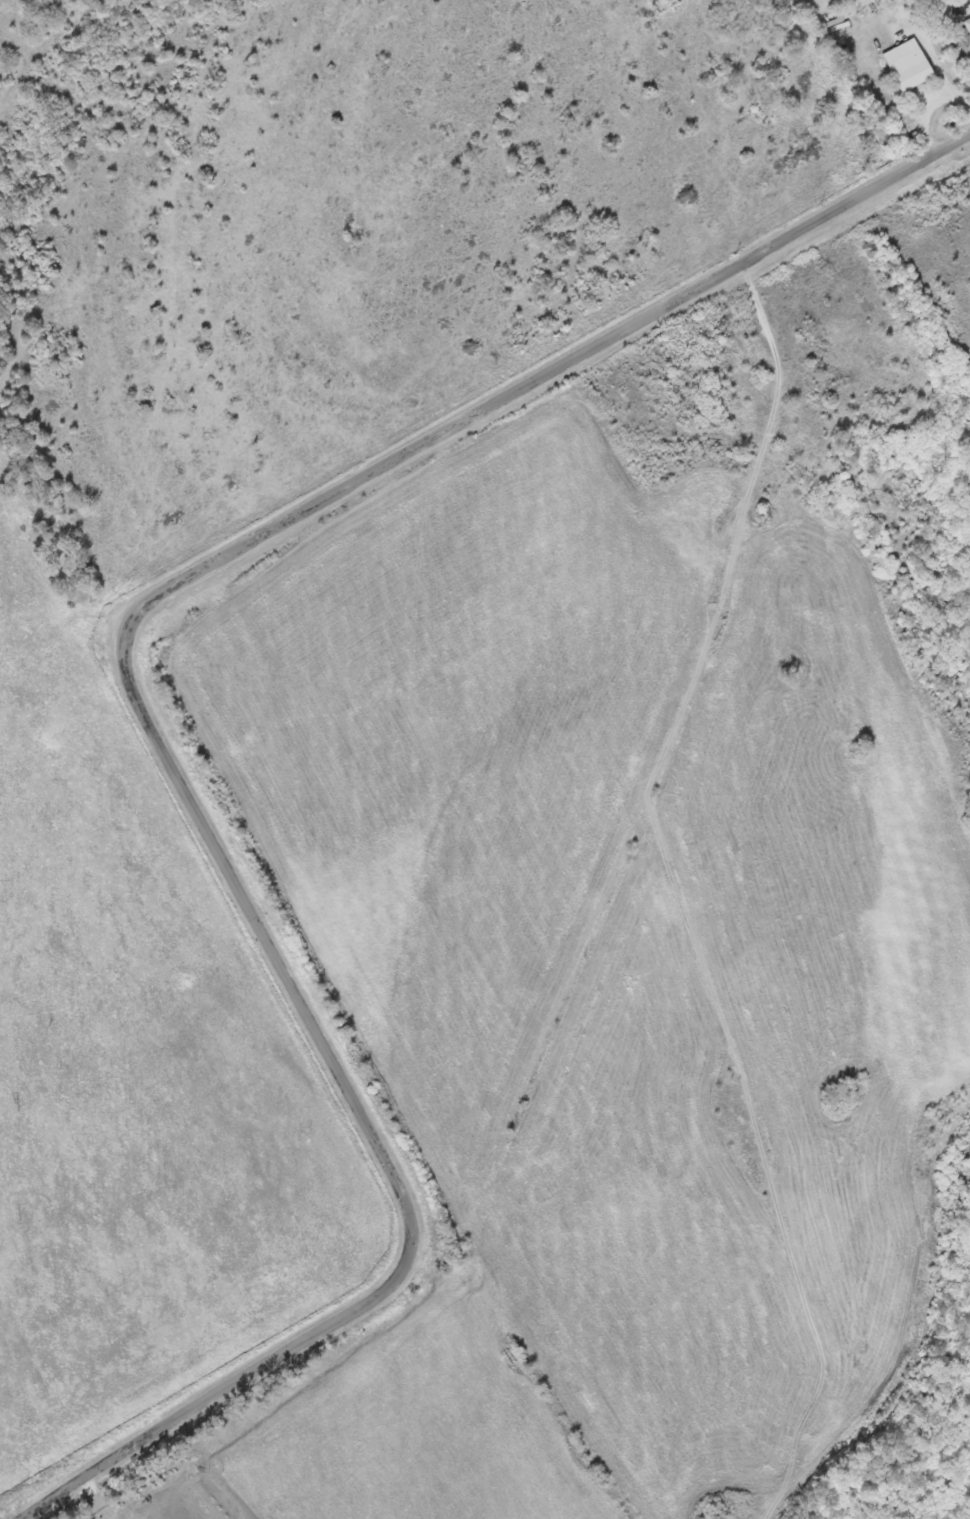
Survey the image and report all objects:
building: (964, 36)
building: (908, 64)
road: (145, 718)

